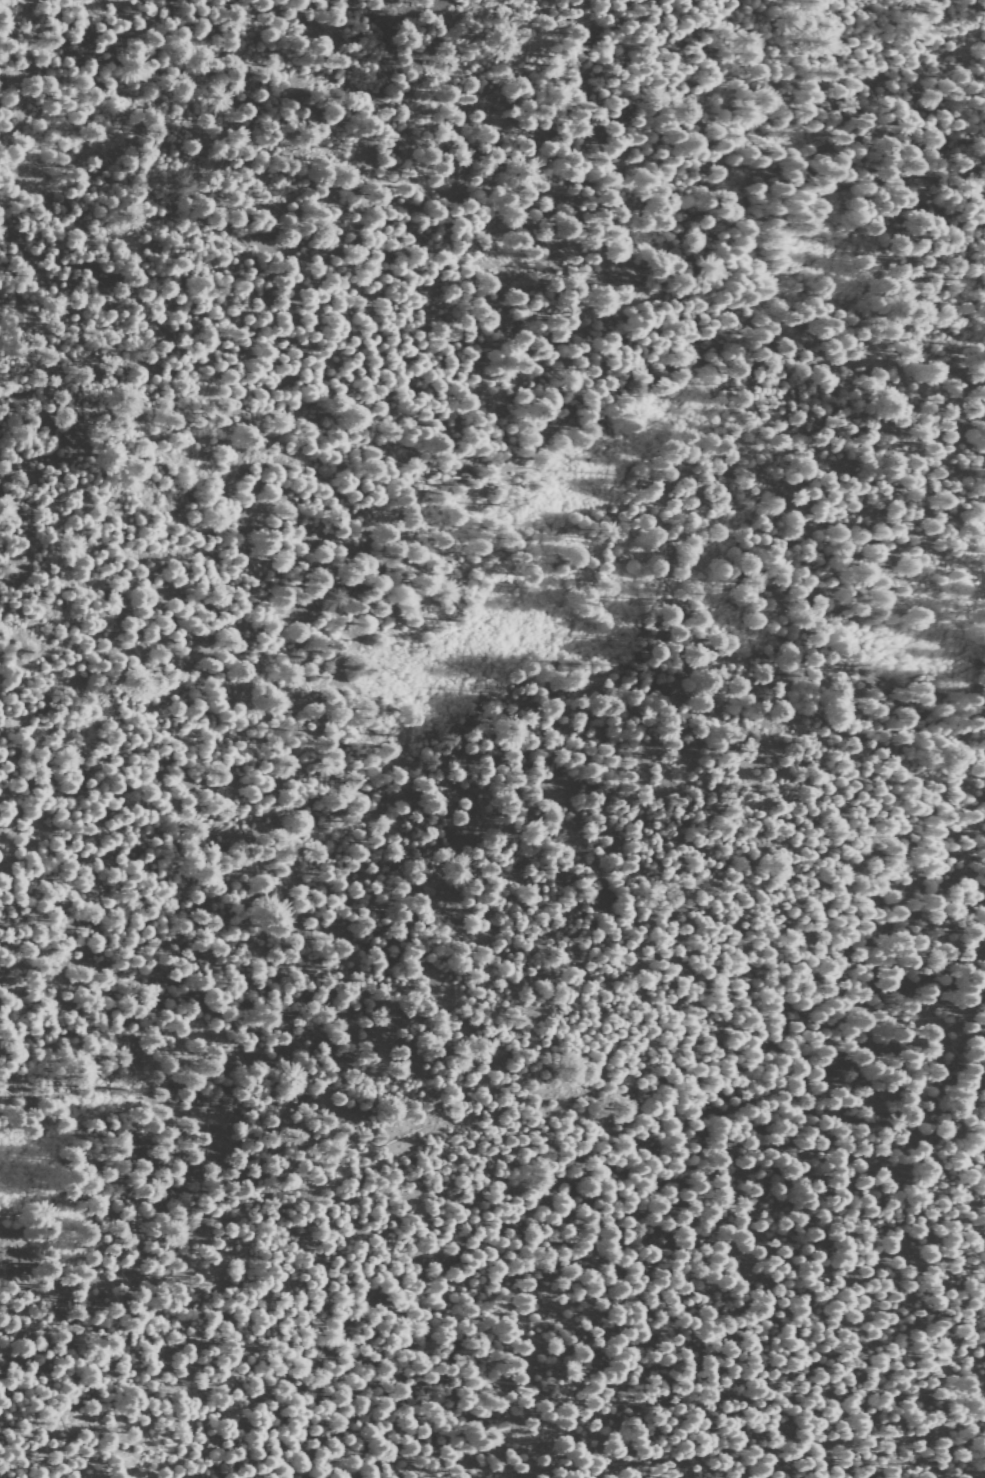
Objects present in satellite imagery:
road: (300, 9)
road: (62, 61)
road: (338, 1181)

